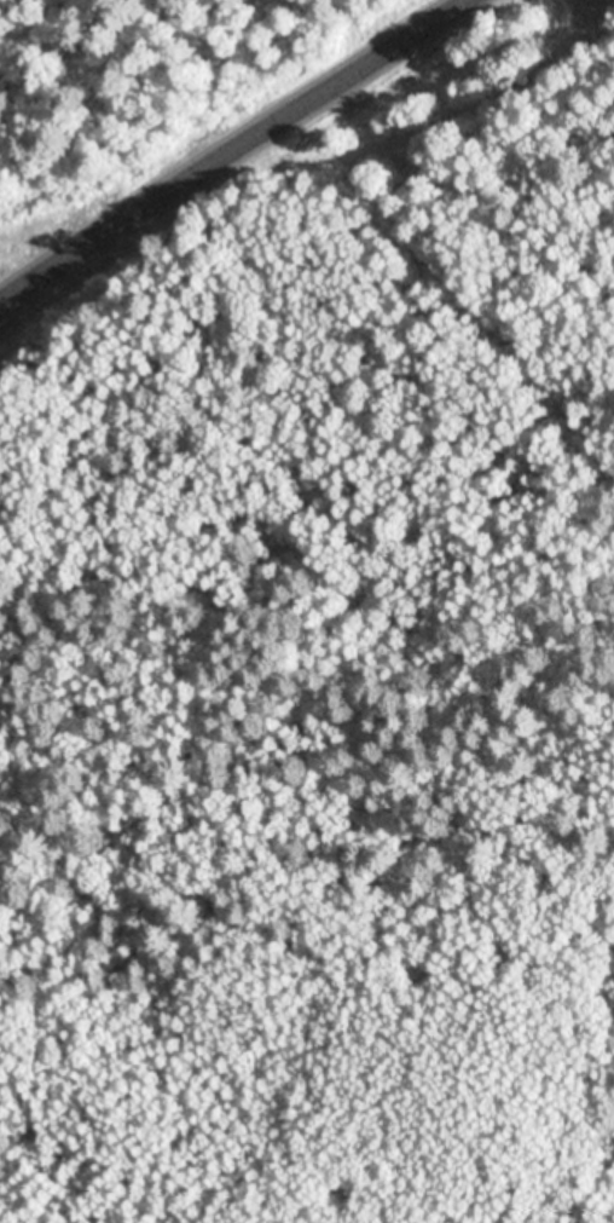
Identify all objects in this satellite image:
road: (230, 151)
road: (434, 204)

